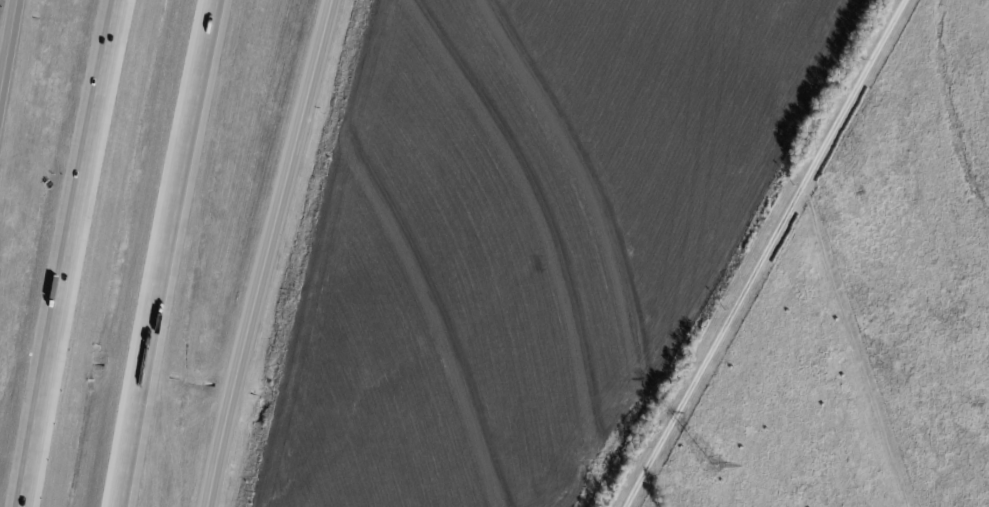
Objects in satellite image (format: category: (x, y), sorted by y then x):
road: (7, 42)
road: (168, 252)
road: (267, 252)
road: (72, 253)
power tower: (712, 467)

